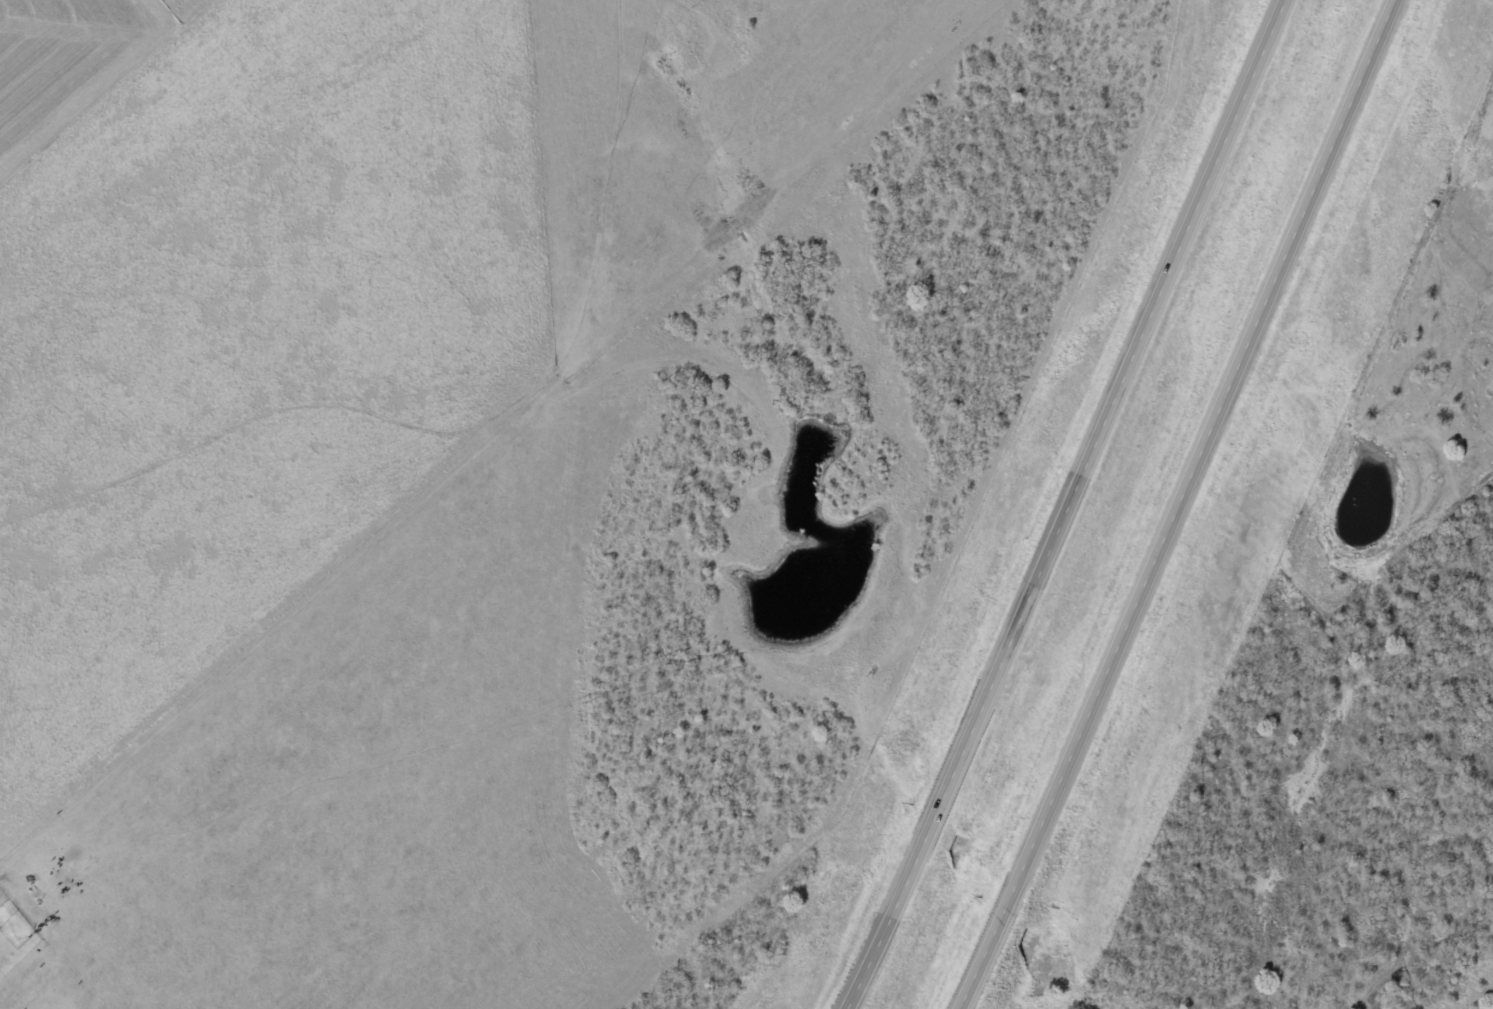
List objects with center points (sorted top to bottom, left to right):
road: (1175, 504)
road: (1063, 505)

